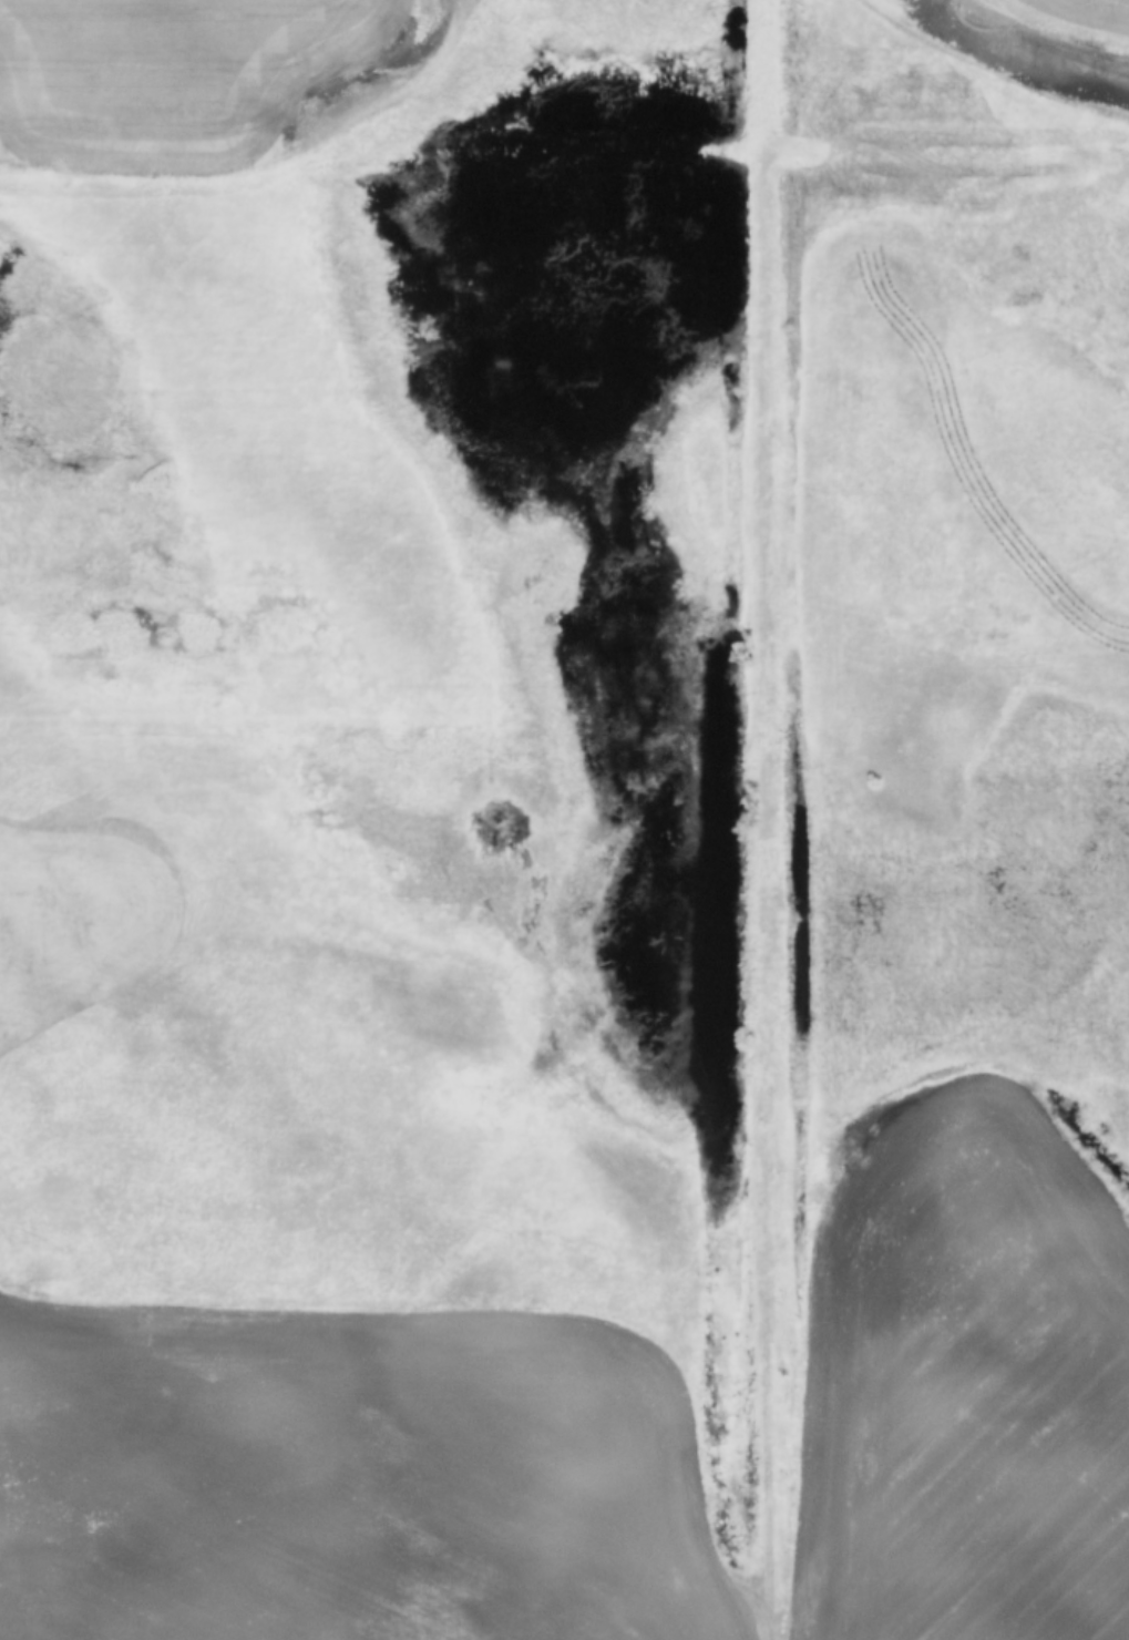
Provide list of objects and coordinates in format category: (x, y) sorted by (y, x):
road: (778, 820)

